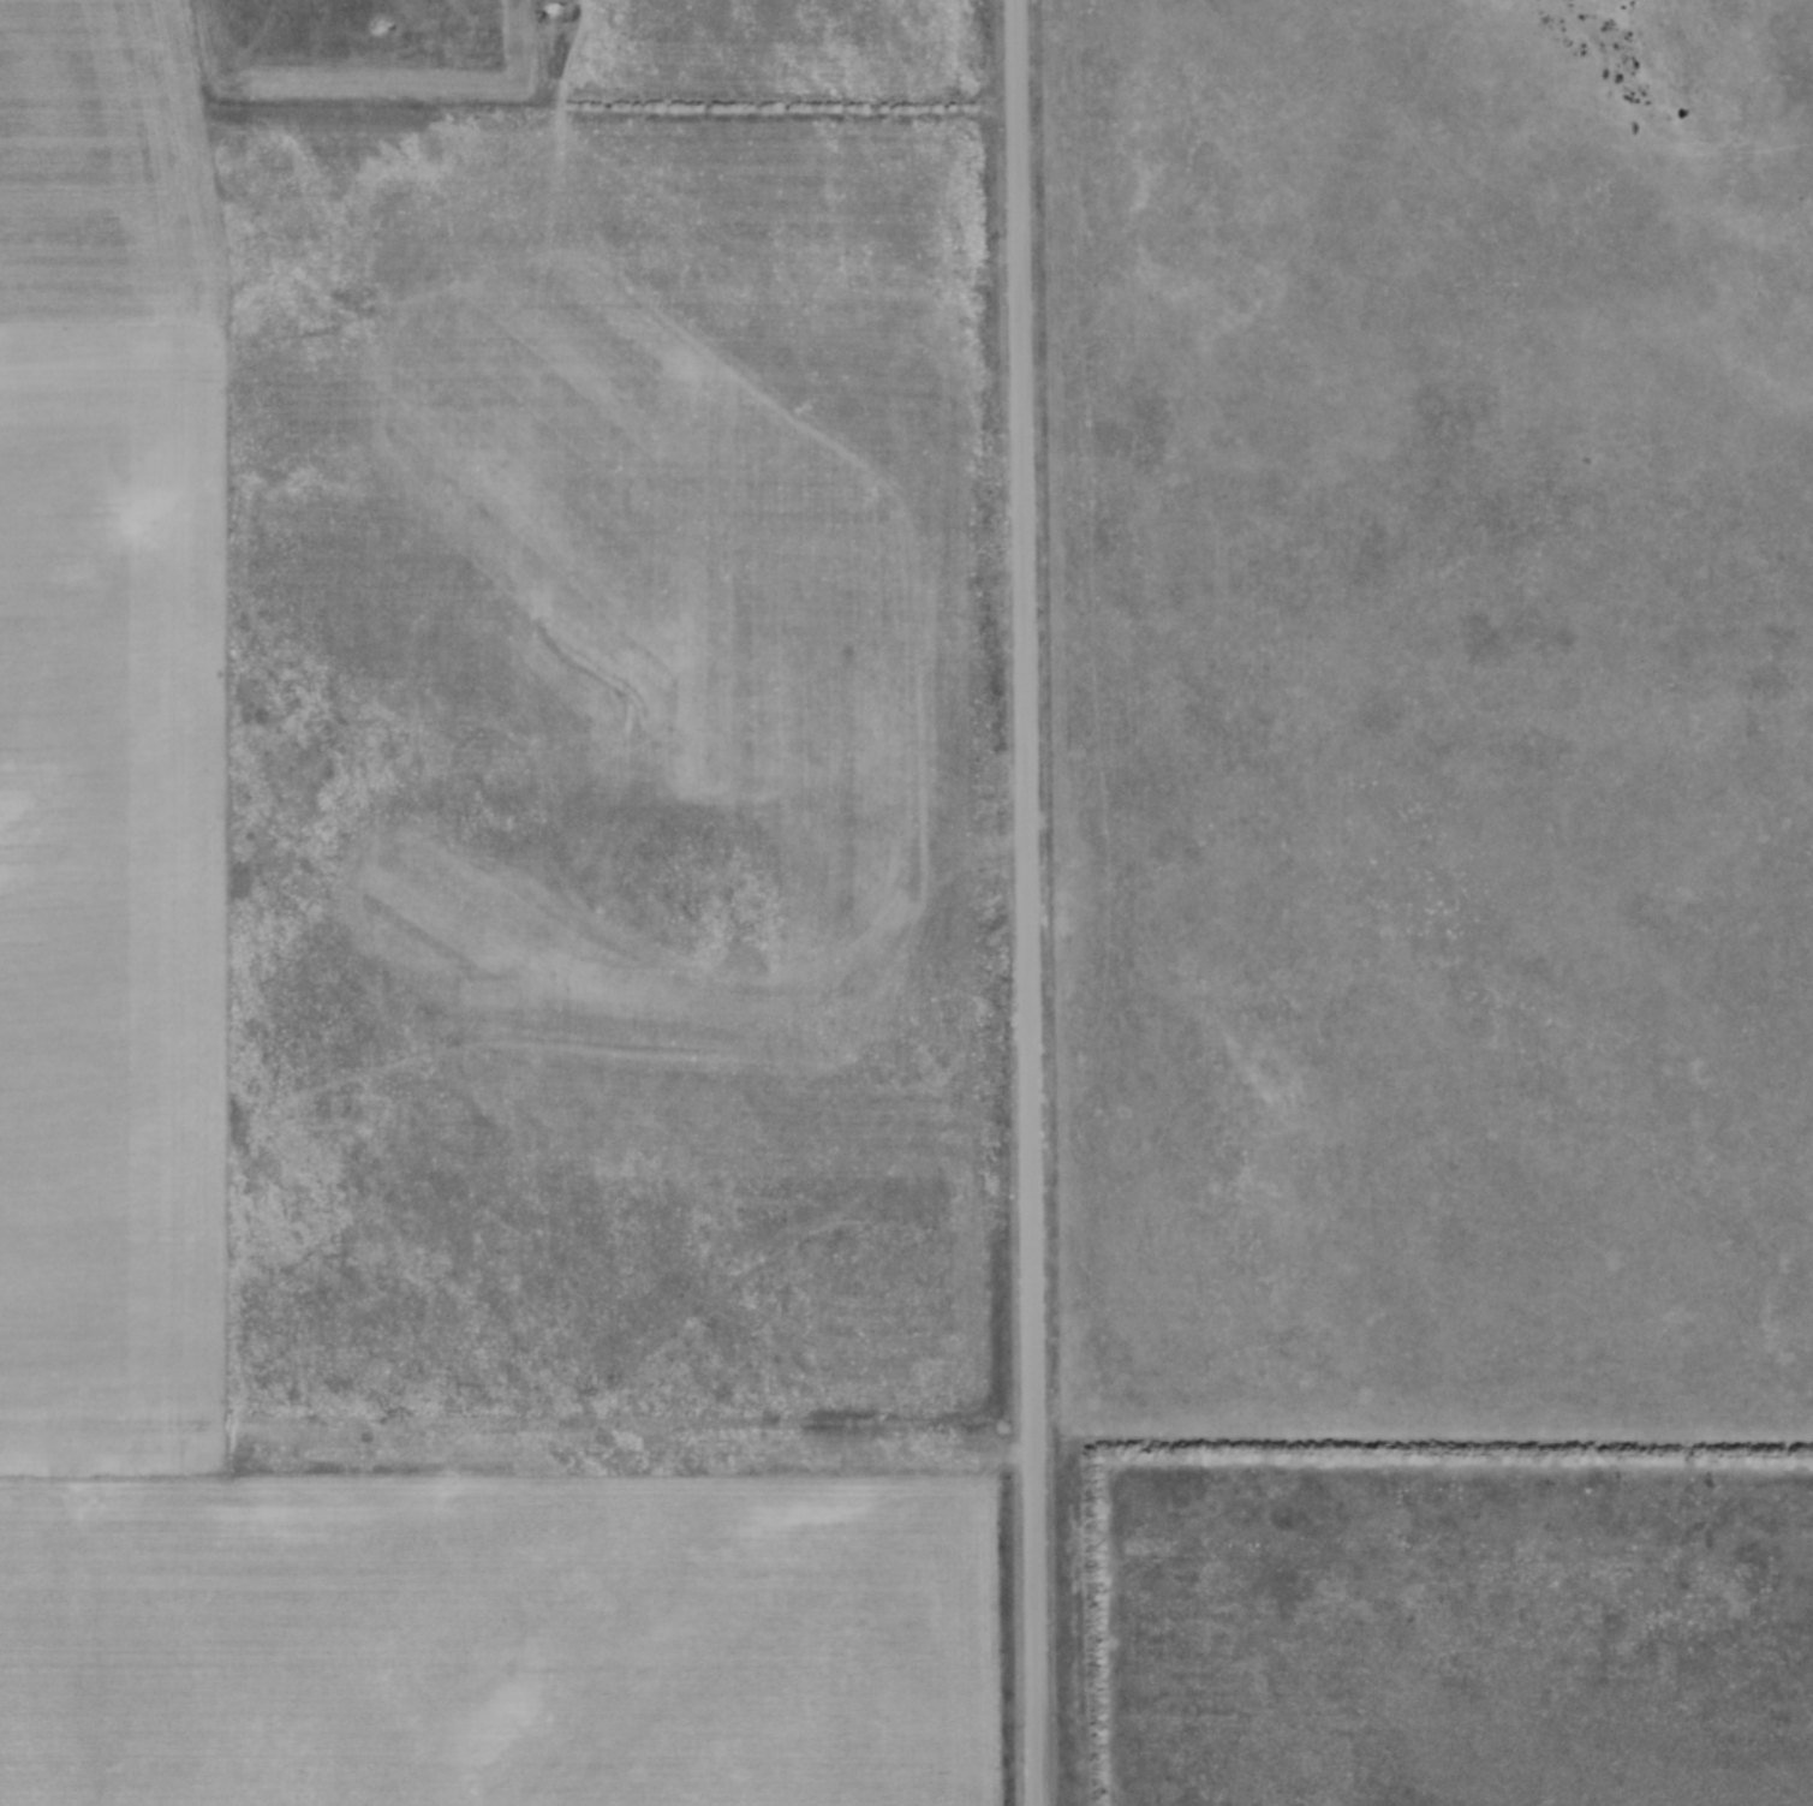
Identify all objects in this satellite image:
crop: (111, 894)
road: (1027, 902)

